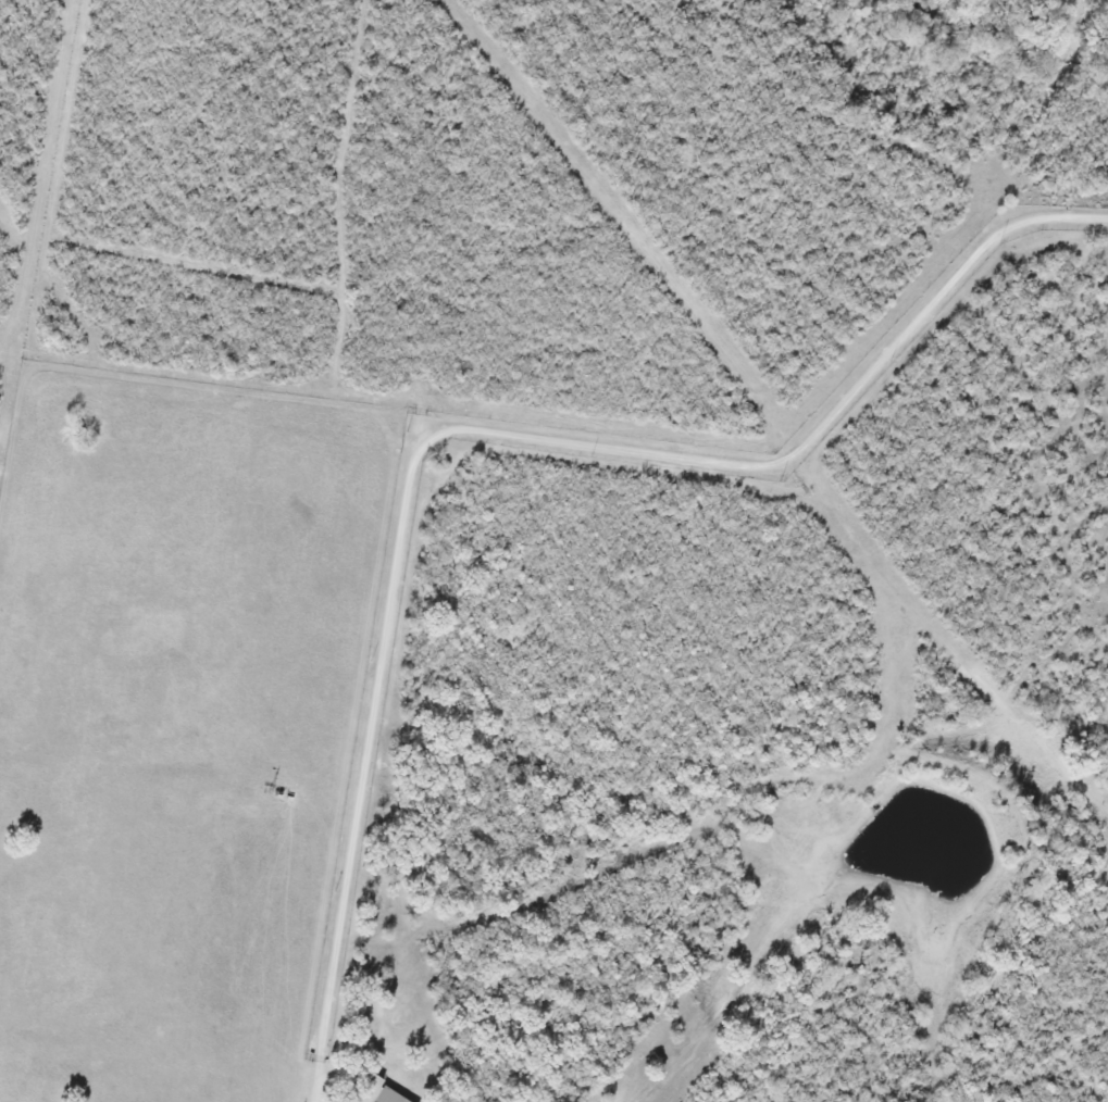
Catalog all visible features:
building: (376, 1092)

